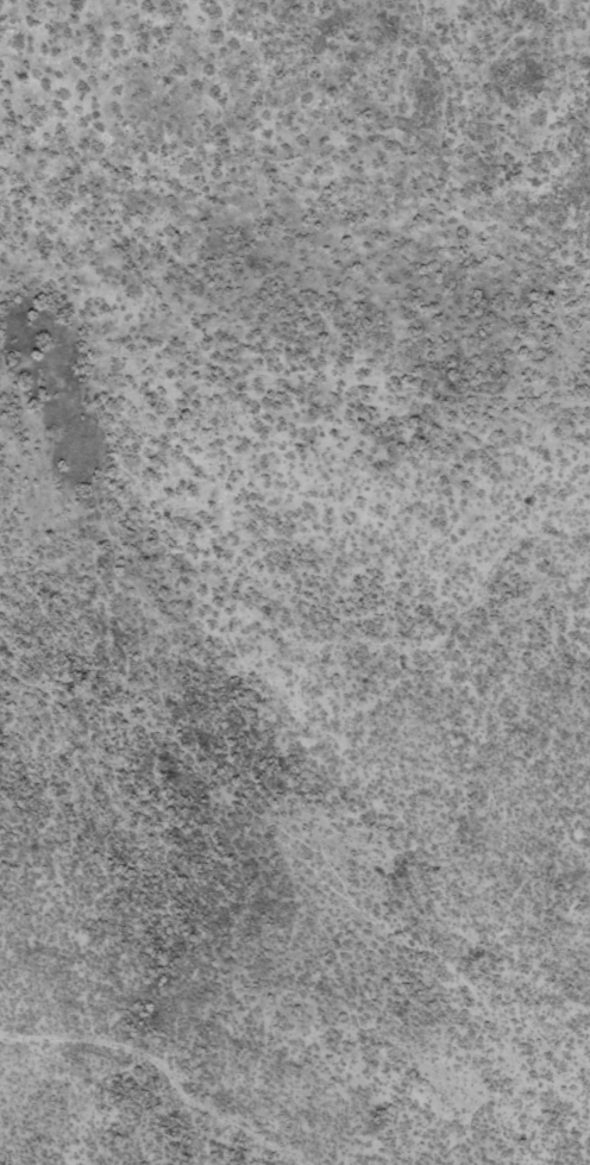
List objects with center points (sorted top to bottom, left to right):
road: (119, 1106)

